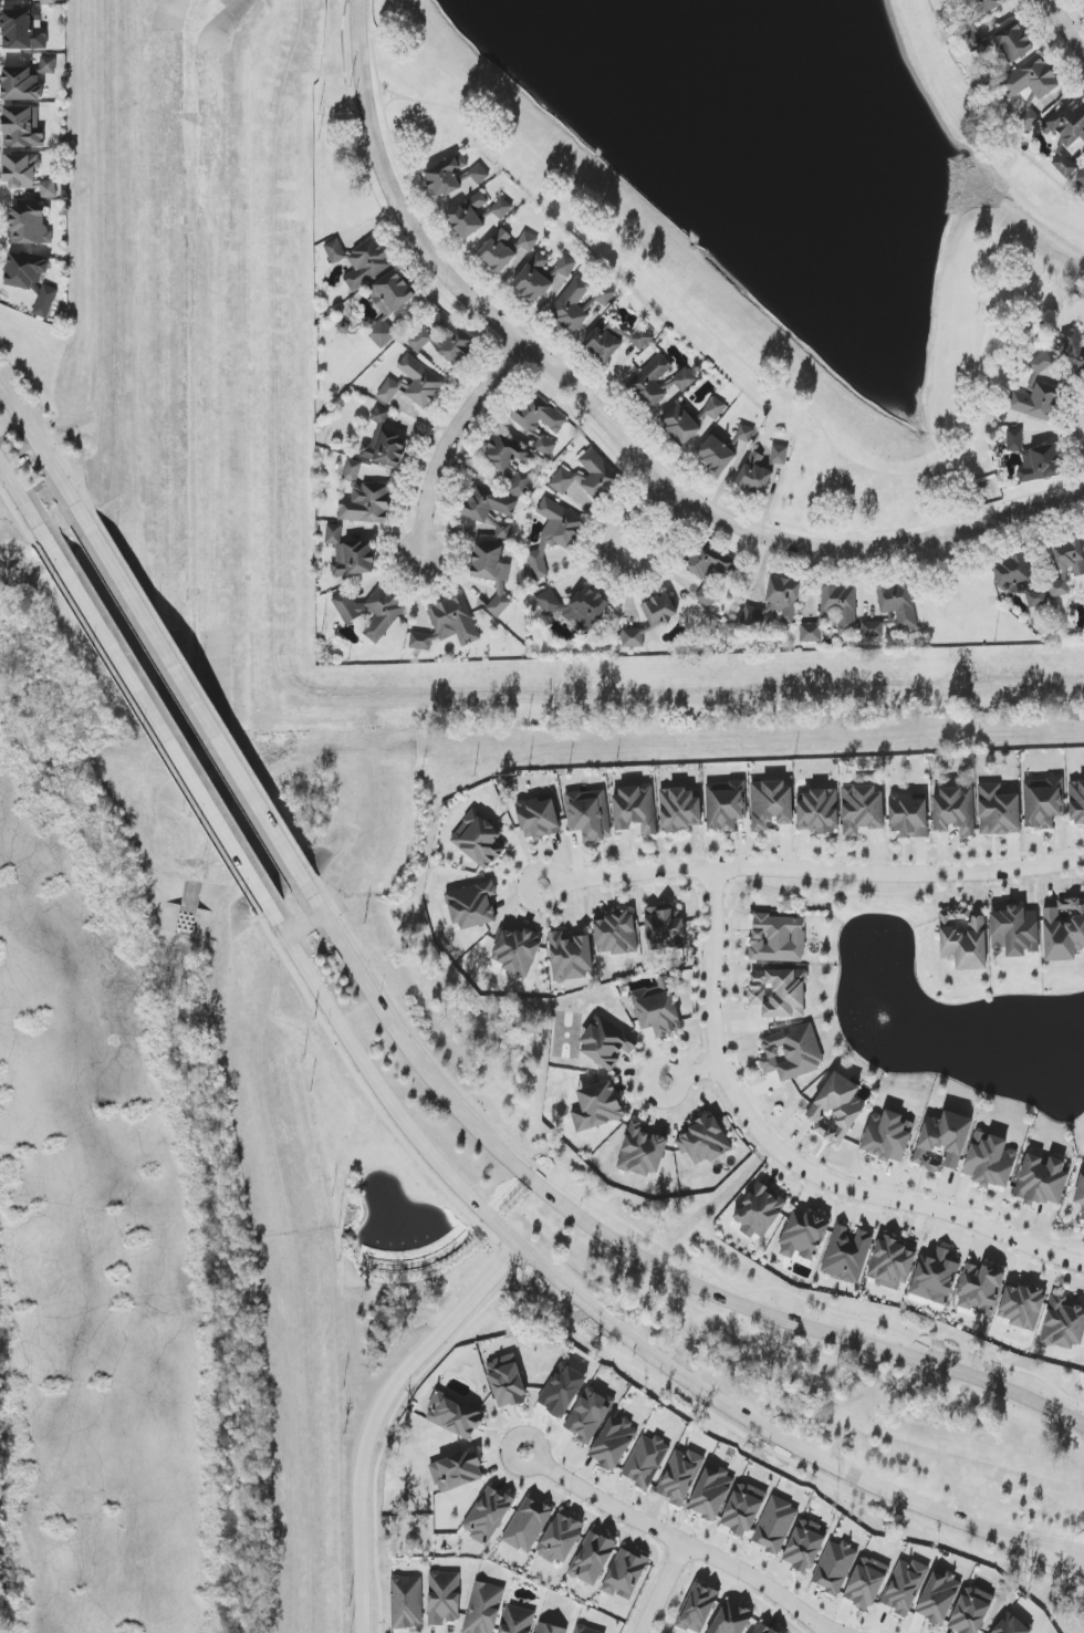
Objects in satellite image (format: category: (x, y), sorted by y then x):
building: (49, 1)
building: (986, 6)
road: (1066, 27)
building: (22, 30)
building: (1013, 42)
building: (27, 80)
building: (1031, 87)
road: (392, 100)
building: (1066, 123)
building: (21, 127)
building: (1063, 165)
building: (21, 170)
building: (1081, 177)
building: (477, 214)
building: (29, 226)
building: (505, 249)
building: (359, 261)
building: (541, 278)
building: (31, 281)
building: (603, 294)
building: (388, 304)
building: (572, 305)
road: (505, 318)
building: (444, 340)
building: (614, 341)
road: (543, 346)
building: (1075, 350)
road: (747, 363)
road: (572, 372)
building: (413, 383)
building: (659, 383)
building: (1035, 402)
building: (715, 408)
road: (623, 412)
building: (379, 415)
building: (555, 425)
road: (612, 425)
building: (680, 425)
building: (746, 434)
road: (37, 437)
road: (456, 441)
building: (385, 450)
building: (505, 453)
building: (716, 455)
building: (779, 456)
building: (1034, 459)
road: (846, 465)
building: (754, 474)
building: (587, 476)
building: (519, 482)
road: (842, 490)
road: (769, 498)
road: (23, 499)
building: (364, 499)
road: (991, 503)
building: (490, 508)
road: (734, 513)
road: (852, 520)
building: (553, 534)
building: (350, 553)
building: (1069, 557)
building: (708, 561)
road: (617, 563)
building: (492, 572)
building: (1018, 580)
building: (1060, 586)
building: (707, 596)
building: (775, 602)
building: (898, 604)
building: (575, 606)
building: (841, 606)
building: (369, 610)
building: (660, 610)
building: (447, 624)
building: (874, 630)
building: (811, 633)
building: (633, 637)
road: (188, 691)
road: (158, 724)
building: (1076, 801)
building: (1043, 802)
building: (770, 804)
building: (725, 805)
building: (680, 809)
building: (635, 810)
building: (862, 810)
building: (998, 810)
building: (953, 811)
building: (817, 812)
building: (590, 814)
building: (909, 815)
building: (539, 819)
building: (479, 839)
road: (811, 870)
building: (472, 905)
building: (664, 928)
building: (1064, 930)
building: (1014, 932)
building: (615, 934)
building: (778, 938)
building: (515, 950)
building: (571, 957)
building: (779, 992)
building: (658, 1009)
fountain: (879, 1017)
building: (606, 1043)
building: (792, 1052)
road: (688, 1073)
building: (597, 1106)
building: (836, 1109)
building: (887, 1136)
building: (703, 1141)
building: (942, 1142)
building: (643, 1151)
road: (786, 1158)
building: (990, 1162)
building: (1042, 1180)
building: (1081, 1195)
building: (759, 1211)
building: (803, 1235)
road: (627, 1249)
building: (846, 1255)
building: (890, 1263)
building: (935, 1277)
building: (979, 1289)
building: (1021, 1306)
road: (591, 1309)
building: (1063, 1323)
road: (595, 1343)
building: (505, 1382)
building: (562, 1391)
road: (381, 1415)
building: (588, 1415)
building: (454, 1416)
road: (389, 1426)
building: (613, 1444)
building: (646, 1462)
building: (457, 1471)
building: (679, 1477)
building: (711, 1492)
building: (743, 1509)
building: (488, 1515)
building: (527, 1525)
building: (775, 1526)
road: (679, 1536)
building: (561, 1539)
building: (804, 1546)
road: (1064, 1556)
building: (593, 1558)
building: (834, 1567)
building: (625, 1574)
building: (866, 1583)
building: (904, 1585)
road: (667, 1587)
building: (444, 1598)
building: (938, 1598)
building: (407, 1602)
building: (483, 1608)
building: (697, 1609)
building: (970, 1611)
building: (517, 1620)
building: (731, 1620)
building: (1010, 1625)
building: (550, 1629)
building: (763, 1629)
building: (585, 1630)

